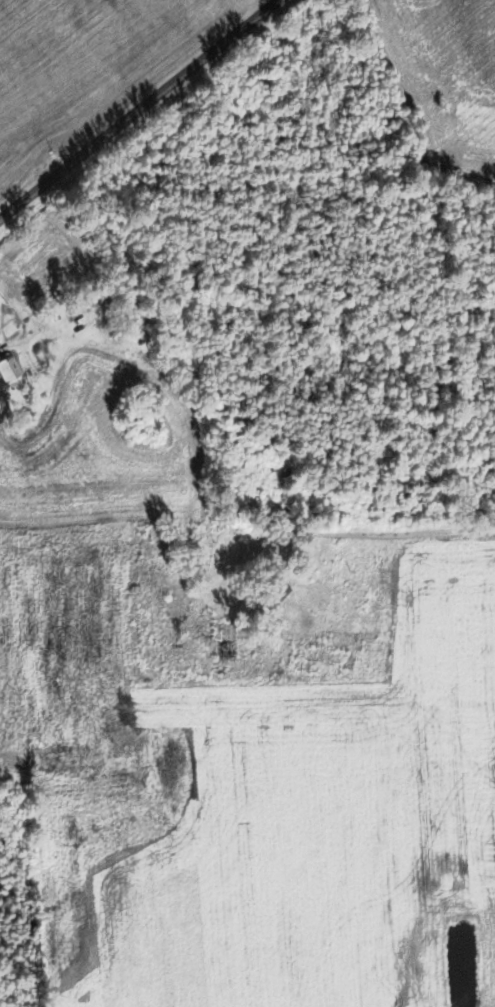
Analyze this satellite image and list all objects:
road: (138, 108)
building: (396, 133)
building: (8, 368)
building: (273, 594)
building: (225, 640)
building: (319, 657)

